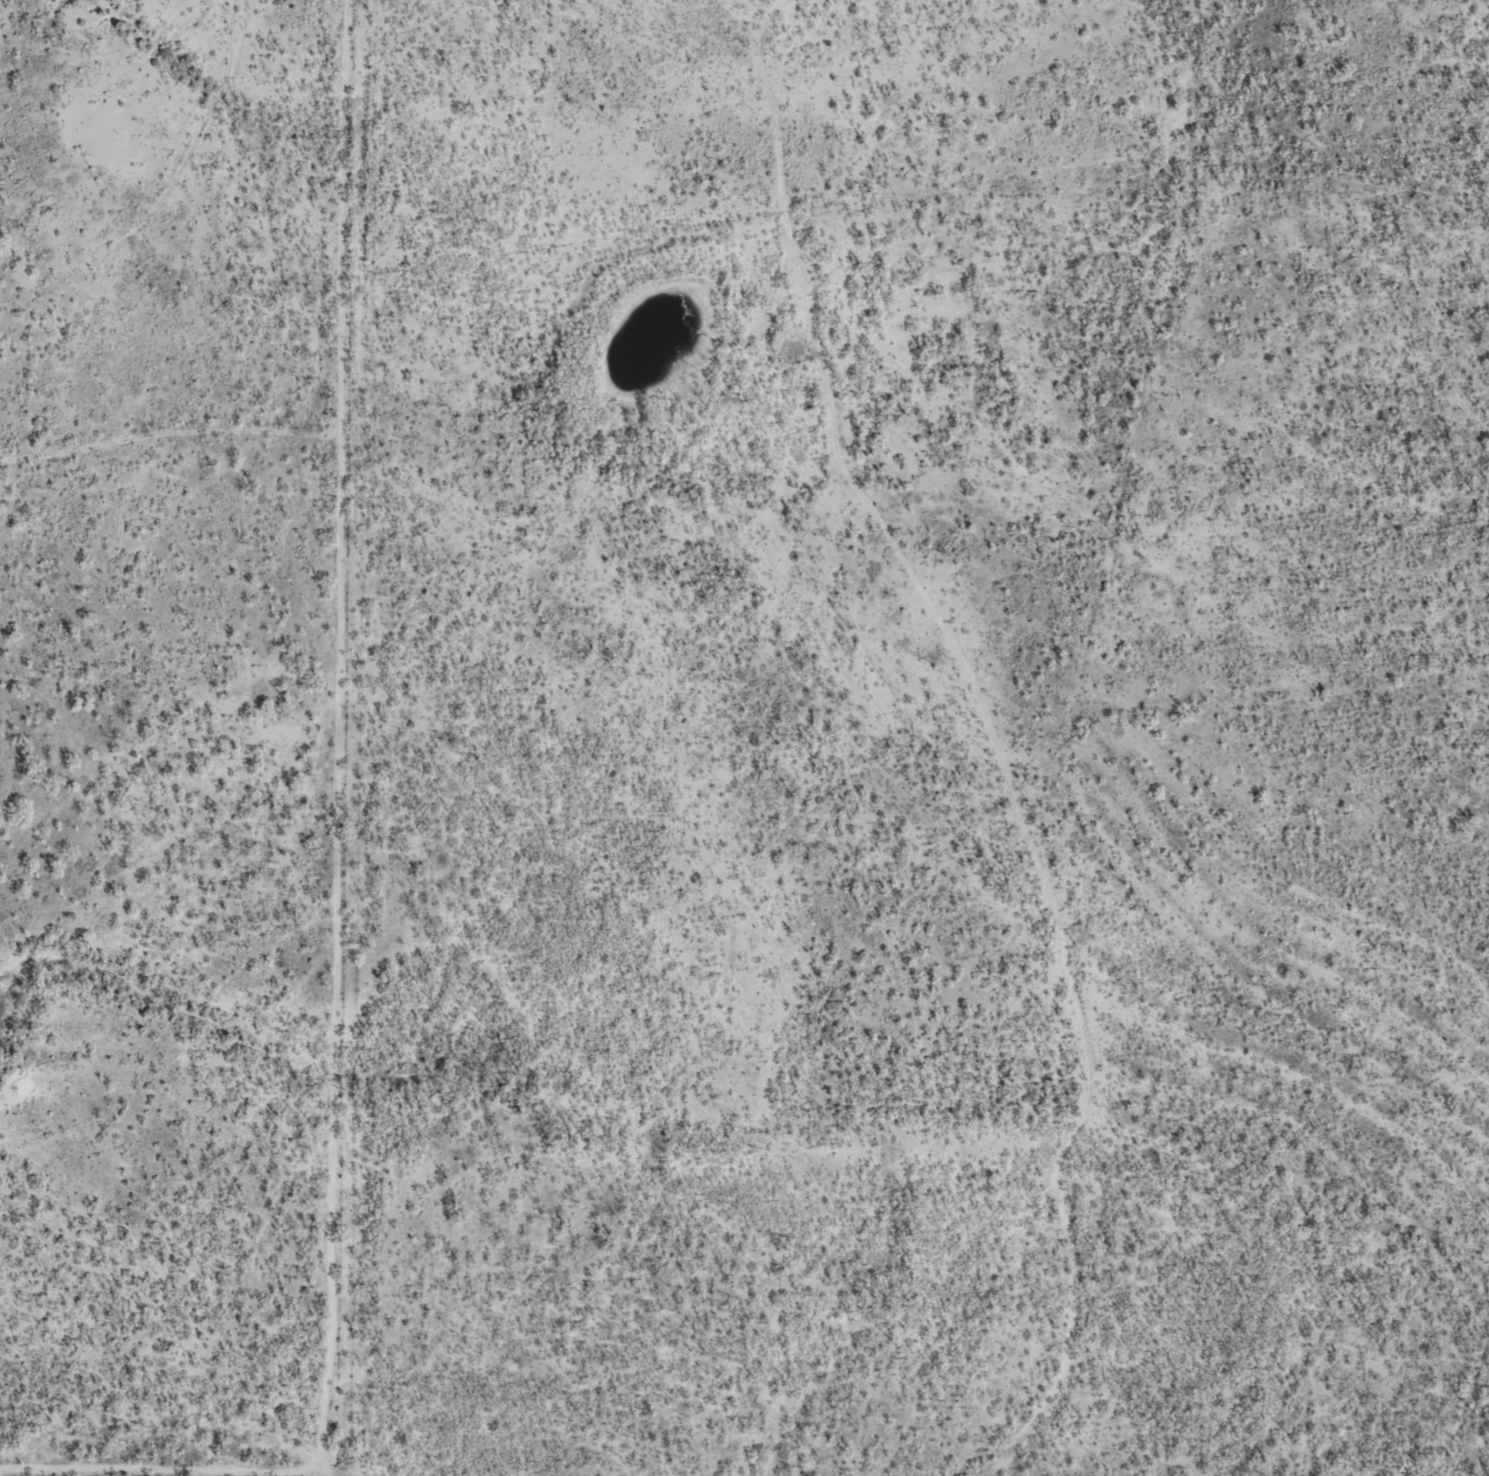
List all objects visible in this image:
road: (440, 672)
road: (64, 1475)

